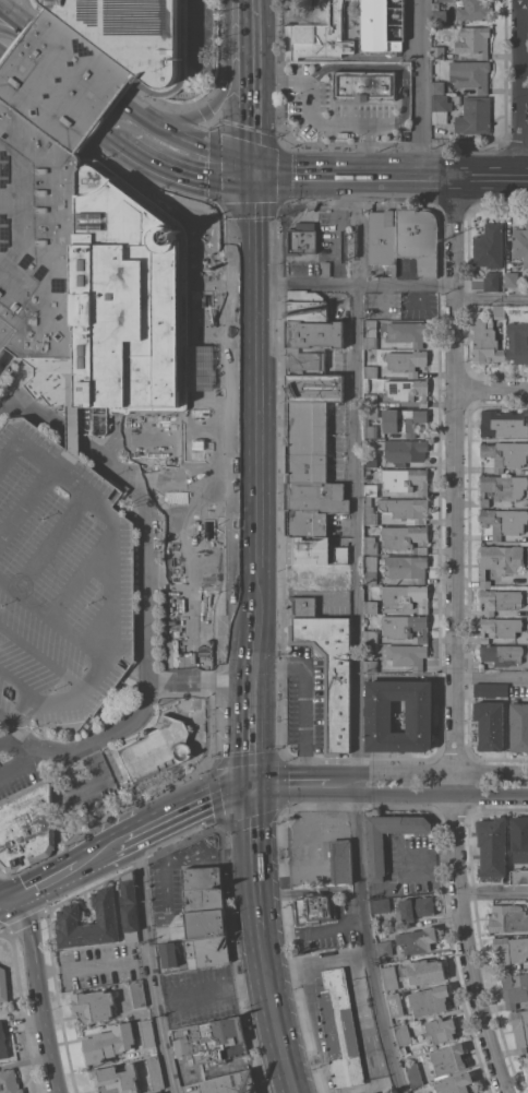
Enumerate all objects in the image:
building: (445, 0)
building: (435, 4)
road: (1, 5)
road: (1, 9)
building: (475, 10)
building: (439, 16)
road: (16, 17)
road: (248, 25)
building: (381, 25)
power substation: (376, 26)
power substation: (316, 31)
building: (315, 32)
road: (197, 33)
building: (135, 36)
building: (475, 40)
road: (4, 52)
building: (439, 52)
road: (383, 66)
building: (470, 74)
building: (62, 79)
building: (363, 84)
building: (439, 86)
road: (421, 90)
road: (520, 90)
building: (458, 99)
road: (217, 104)
building: (440, 108)
road: (249, 115)
building: (475, 115)
road: (319, 118)
road: (382, 123)
road: (184, 138)
road: (169, 171)
road: (346, 178)
traffic signals: (251, 179)
road: (447, 179)
road: (524, 179)
road: (478, 180)
road: (511, 180)
building: (37, 237)
building: (383, 237)
building: (302, 238)
building: (419, 238)
building: (520, 243)
building: (489, 246)
building: (326, 269)
building: (512, 278)
building: (491, 281)
road: (353, 283)
road: (491, 300)
building: (123, 304)
building: (307, 305)
building: (407, 332)
building: (371, 333)
building: (315, 334)
building: (488, 337)
building: (517, 341)
building: (307, 360)
building: (407, 360)
road: (252, 365)
building: (371, 371)
building: (315, 388)
road: (491, 389)
building: (408, 390)
building: (371, 400)
road: (50, 419)
building: (403, 419)
building: (367, 420)
building: (503, 423)
building: (73, 431)
building: (307, 441)
building: (404, 450)
building: (505, 453)
building: (371, 460)
building: (405, 479)
building: (503, 487)
building: (371, 489)
building: (313, 507)
building: (406, 509)
building: (370, 512)
building: (504, 521)
building: (406, 537)
building: (371, 544)
building: (309, 549)
building: (340, 554)
building: (502, 560)
building: (406, 566)
road: (116, 568)
building: (371, 568)
road: (254, 574)
building: (60, 580)
building: (406, 596)
building: (500, 599)
building: (301, 606)
building: (371, 606)
road: (146, 613)
road: (53, 618)
road: (253, 625)
building: (406, 627)
building: (500, 627)
building: (371, 637)
road: (358, 638)
road: (455, 640)
building: (502, 653)
building: (407, 654)
building: (370, 658)
road: (252, 664)
building: (331, 674)
road: (491, 678)
road: (200, 679)
road: (305, 688)
building: (491, 689)
building: (379, 715)
road: (15, 720)
building: (490, 724)
building: (518, 725)
road: (250, 730)
building: (157, 748)
road: (288, 771)
road: (430, 771)
road: (305, 783)
traffic signals: (249, 784)
road: (387, 798)
road: (192, 810)
building: (25, 829)
building: (519, 837)
road: (252, 839)
road: (124, 842)
building: (492, 848)
building: (376, 853)
road: (96, 856)
road: (431, 858)
building: (340, 859)
building: (518, 875)
road: (48, 879)
building: (203, 887)
road: (337, 888)
building: (127, 889)
road: (276, 891)
road: (496, 891)
road: (8, 899)
building: (380, 905)
building: (314, 907)
building: (415, 907)
road: (256, 912)
building: (69, 914)
road: (228, 916)
building: (507, 917)
building: (130, 922)
building: (205, 924)
road: (326, 927)
road: (273, 930)
building: (177, 932)
building: (418, 939)
building: (384, 948)
building: (208, 950)
building: (511, 950)
building: (169, 954)
road: (316, 962)
road: (152, 965)
building: (423, 971)
building: (389, 976)
building: (3, 984)
building: (514, 988)
road: (39, 993)
building: (139, 994)
building: (430, 999)
building: (94, 1003)
building: (395, 1003)
road: (272, 1012)
building: (335, 1026)
building: (441, 1029)
building: (520, 1029)
road: (365, 1031)
building: (146, 1032)
building: (403, 1033)
building: (211, 1039)
building: (2, 1042)
building: (109, 1042)
building: (449, 1058)
building: (525, 1065)
building: (155, 1072)
building: (413, 1073)
building: (117, 1078)
building: (9, 1081)
building: (233, 1083)
building: (455, 1083)
building: (160, 1092)
building: (394, 1092)

